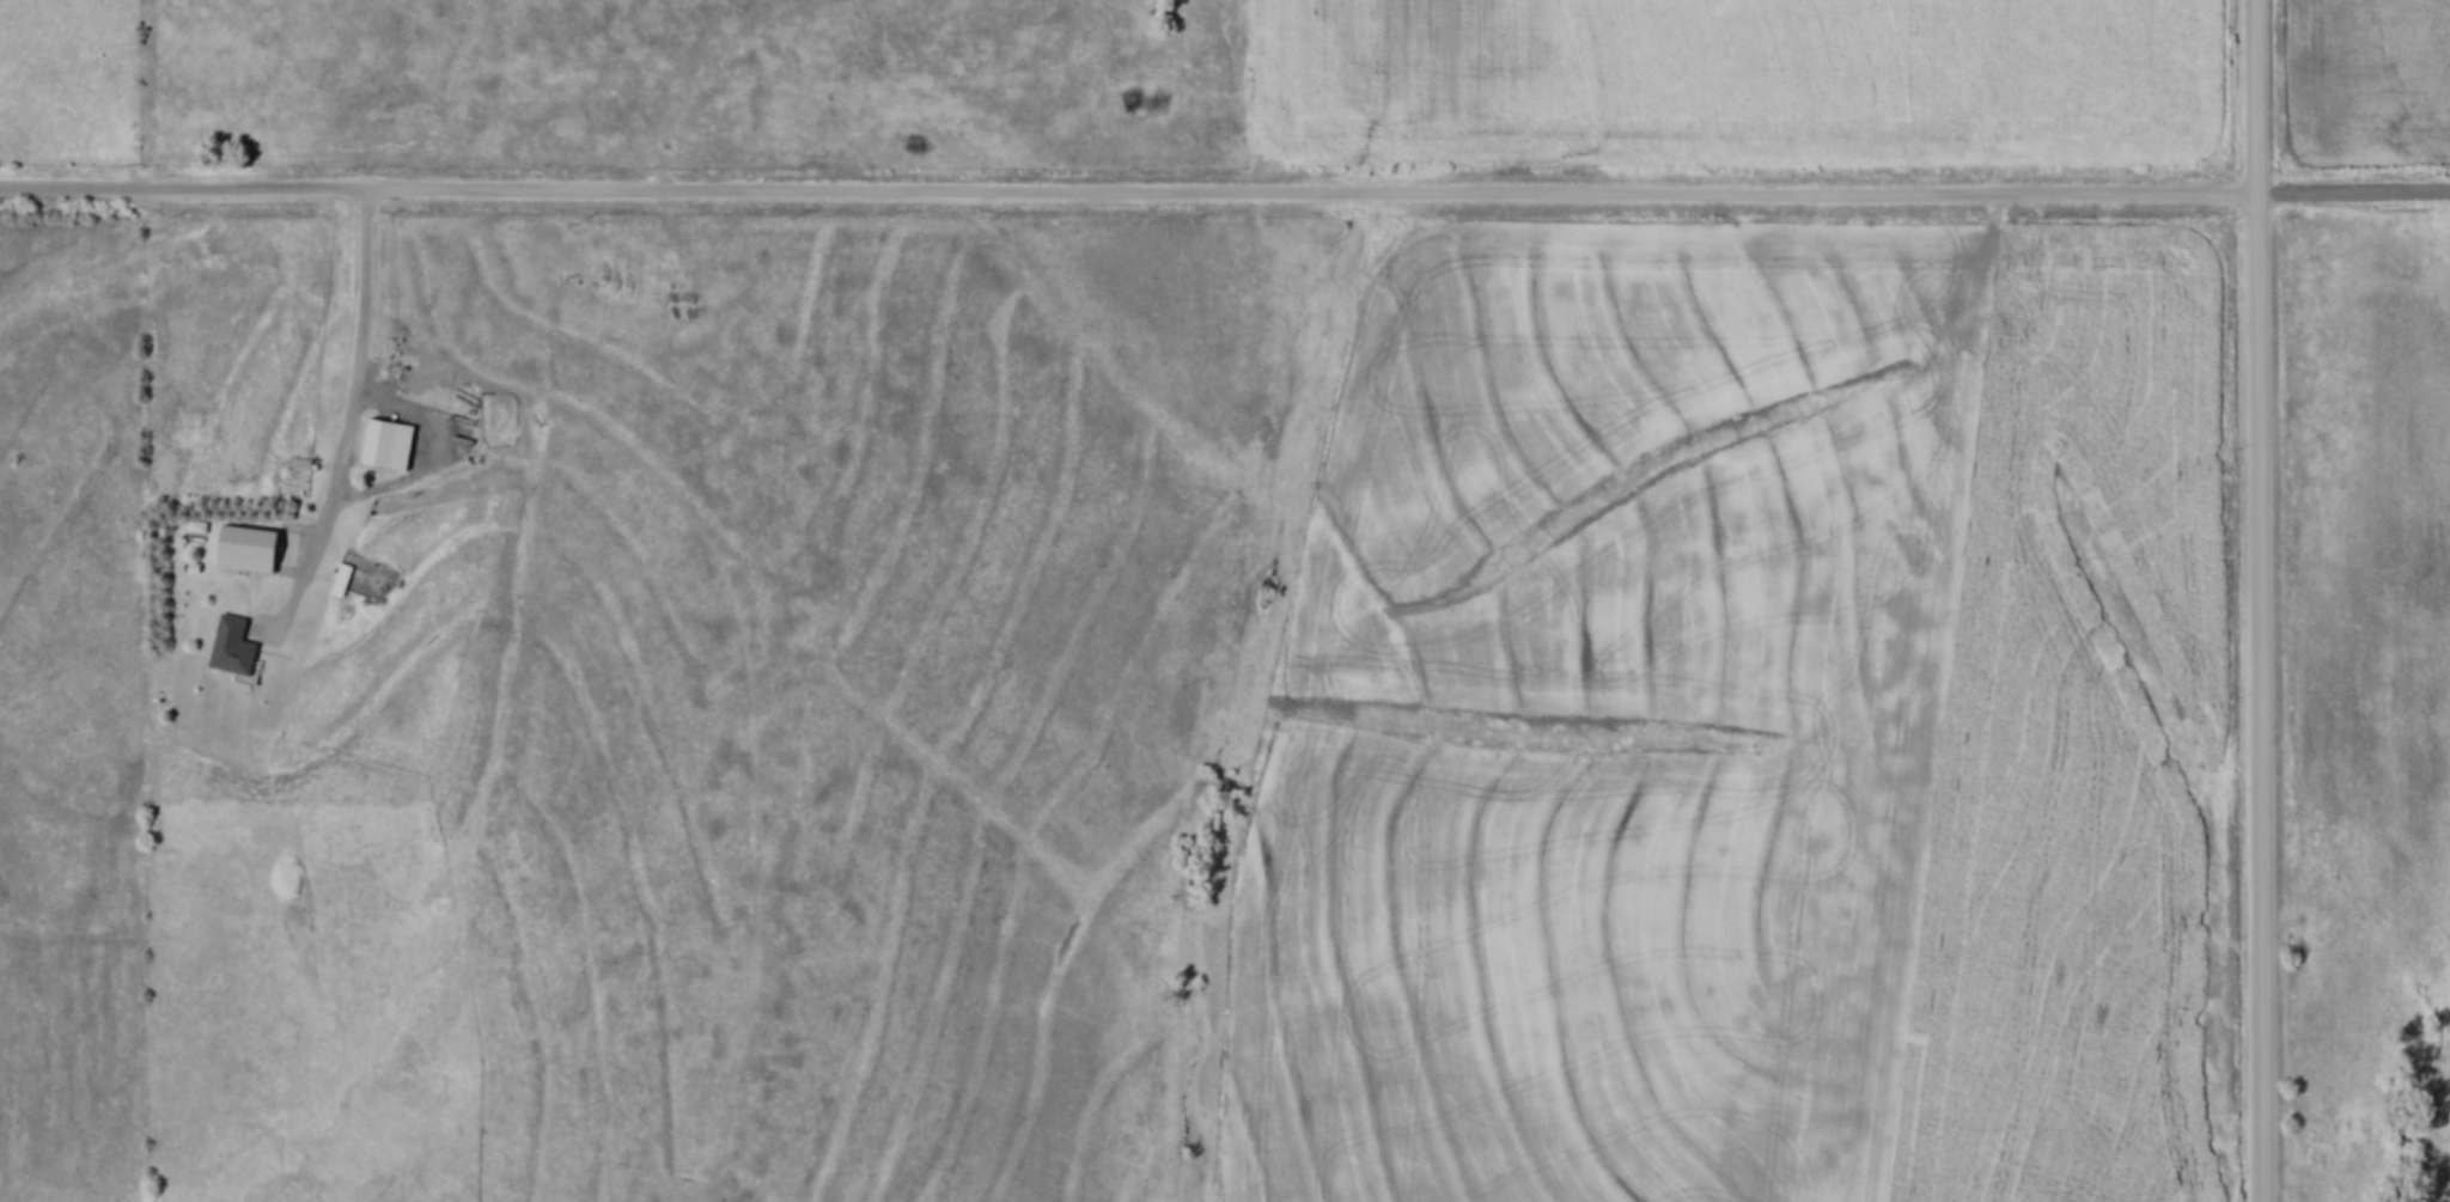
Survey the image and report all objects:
road: (1225, 196)
road: (356, 416)
building: (380, 443)
road: (2267, 600)
building: (234, 646)

